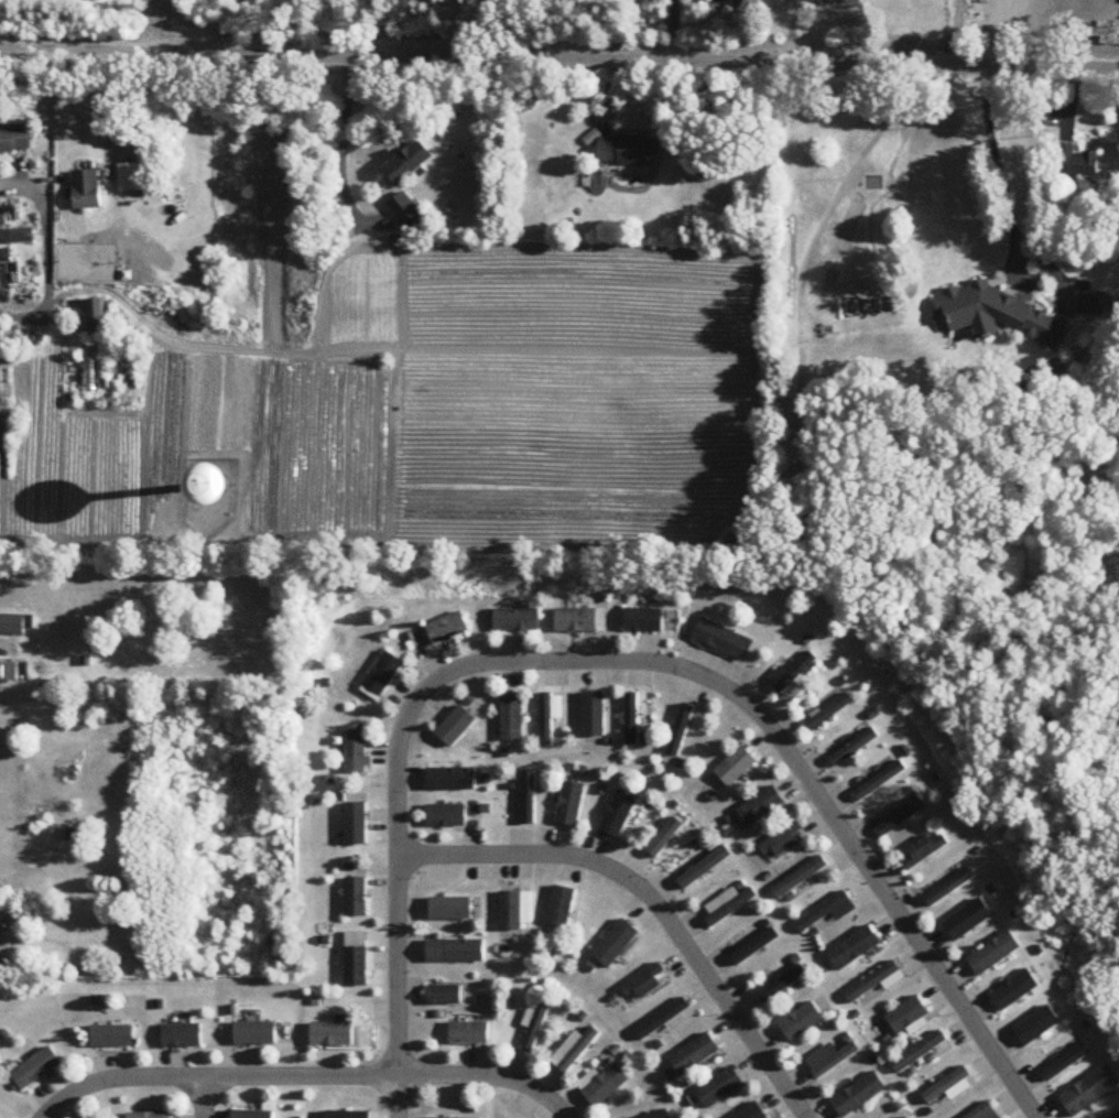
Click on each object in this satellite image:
building: (751, 7)
road: (559, 59)
road: (108, 112)
building: (15, 140)
road: (340, 149)
building: (629, 152)
road: (996, 155)
building: (410, 163)
building: (1076, 164)
building: (87, 189)
building: (406, 211)
building: (17, 239)
building: (4, 256)
road: (46, 257)
building: (149, 287)
building: (1090, 304)
building: (97, 315)
building: (1001, 315)
water tower: (221, 487)
building: (515, 620)
building: (578, 620)
building: (643, 620)
building: (15, 625)
building: (446, 629)
building: (723, 640)
road: (622, 663)
building: (8, 673)
building: (792, 673)
building: (381, 676)
building: (830, 712)
building: (634, 716)
building: (511, 718)
building: (591, 719)
building: (545, 720)
building: (458, 724)
building: (854, 748)
building: (355, 750)
building: (735, 767)
building: (880, 781)
building: (568, 804)
building: (760, 806)
building: (446, 815)
building: (902, 817)
building: (356, 821)
building: (780, 843)
building: (924, 850)
building: (800, 877)
building: (950, 887)
building: (356, 897)
road: (653, 899)
building: (726, 905)
building: (561, 907)
building: (514, 910)
building: (827, 911)
building: (618, 942)
building: (854, 947)
building: (456, 951)
building: (995, 954)
building: (356, 958)
building: (778, 980)
building: (871, 981)
building: (644, 984)
building: (1017, 990)
building: (445, 996)
building: (906, 1016)
building: (666, 1021)
building: (1041, 1024)
building: (533, 1028)
building: (469, 1033)
building: (256, 1034)
building: (333, 1034)
building: (183, 1035)
building: (111, 1036)
building: (574, 1050)
building: (919, 1052)
building: (694, 1055)
building: (829, 1059)
building: (1065, 1060)
building: (36, 1068)
road: (306, 1076)
building: (605, 1087)
building: (719, 1088)
building: (1091, 1092)
building: (858, 1095)
road: (204, 1097)
building: (752, 1112)
building: (984, 1112)
building: (252, 1115)
building: (150, 1116)
building: (1117, 1116)

